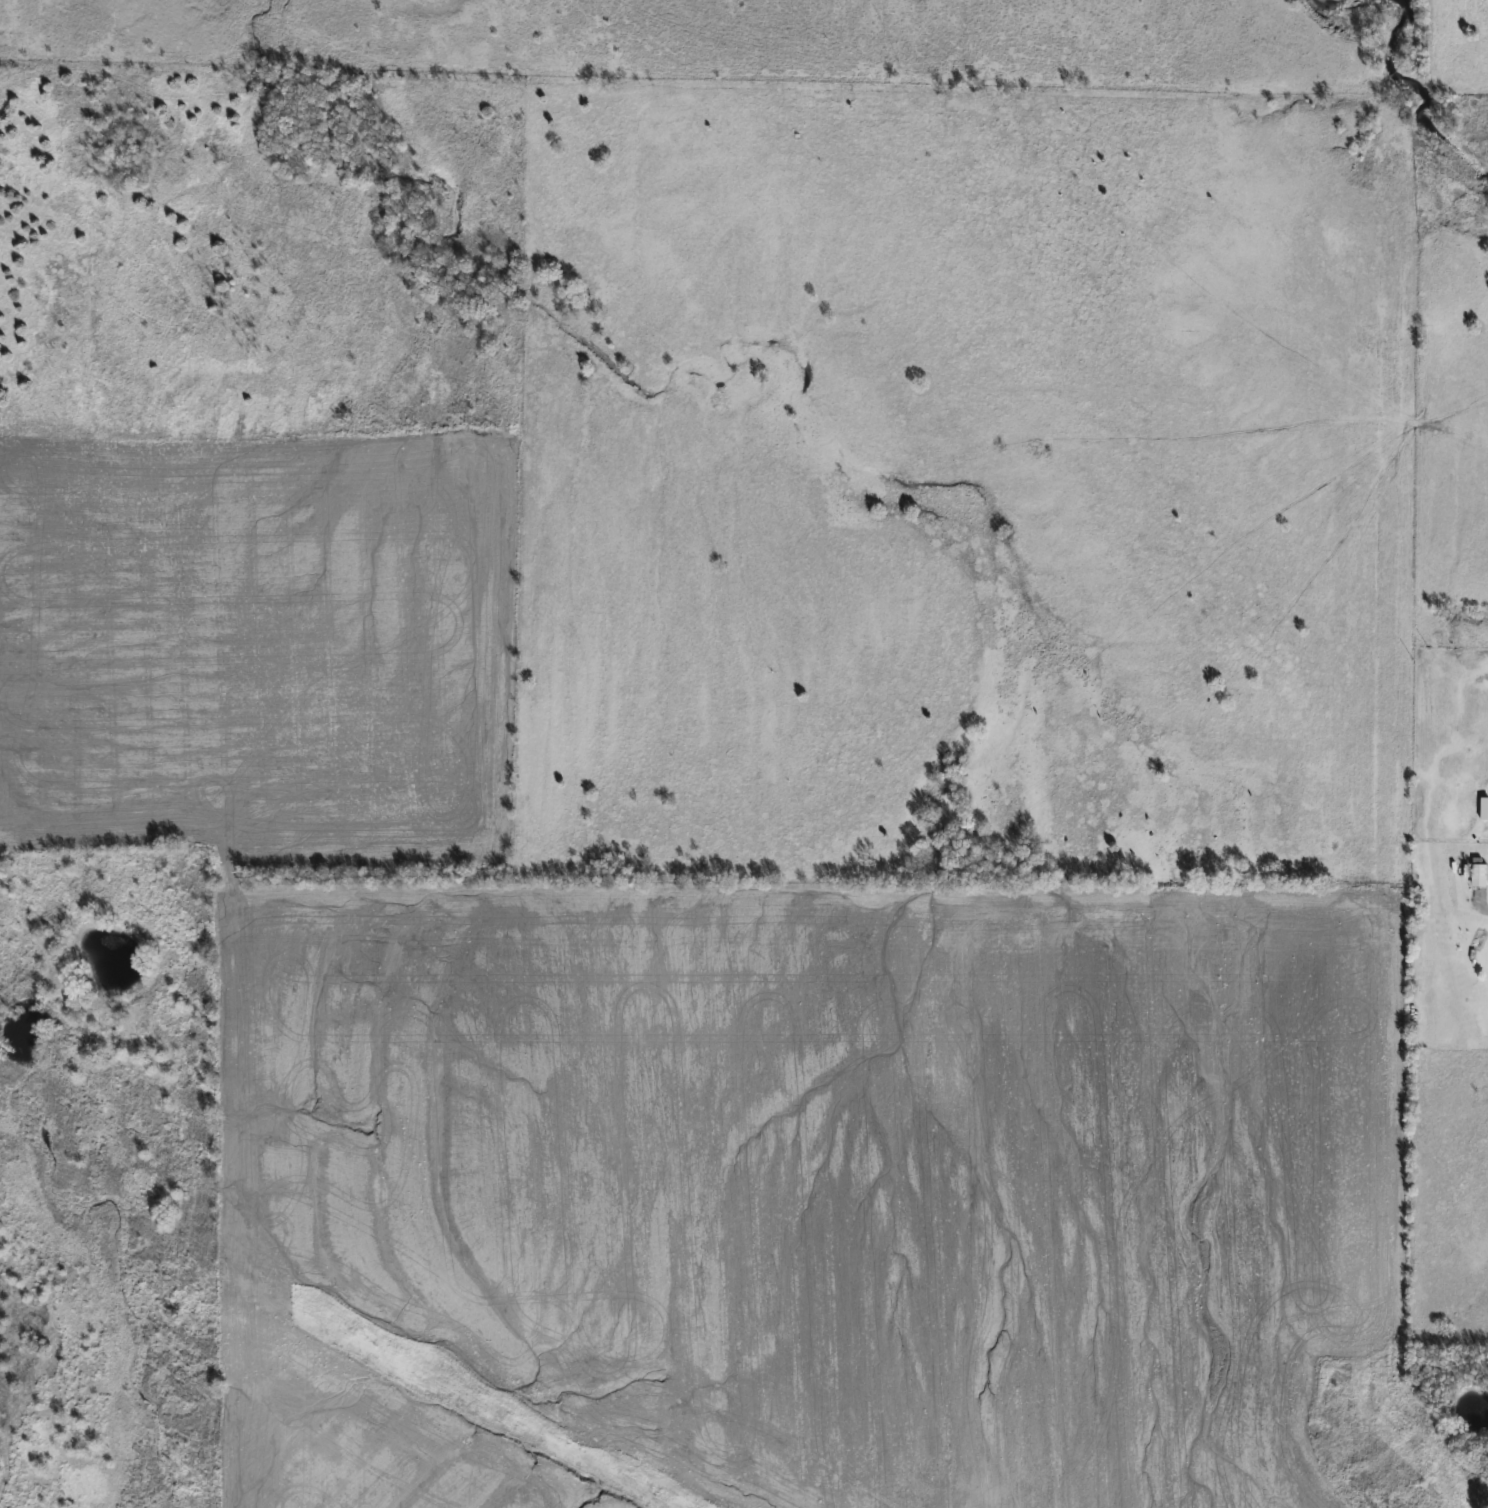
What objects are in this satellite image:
building: (1475, 874)

